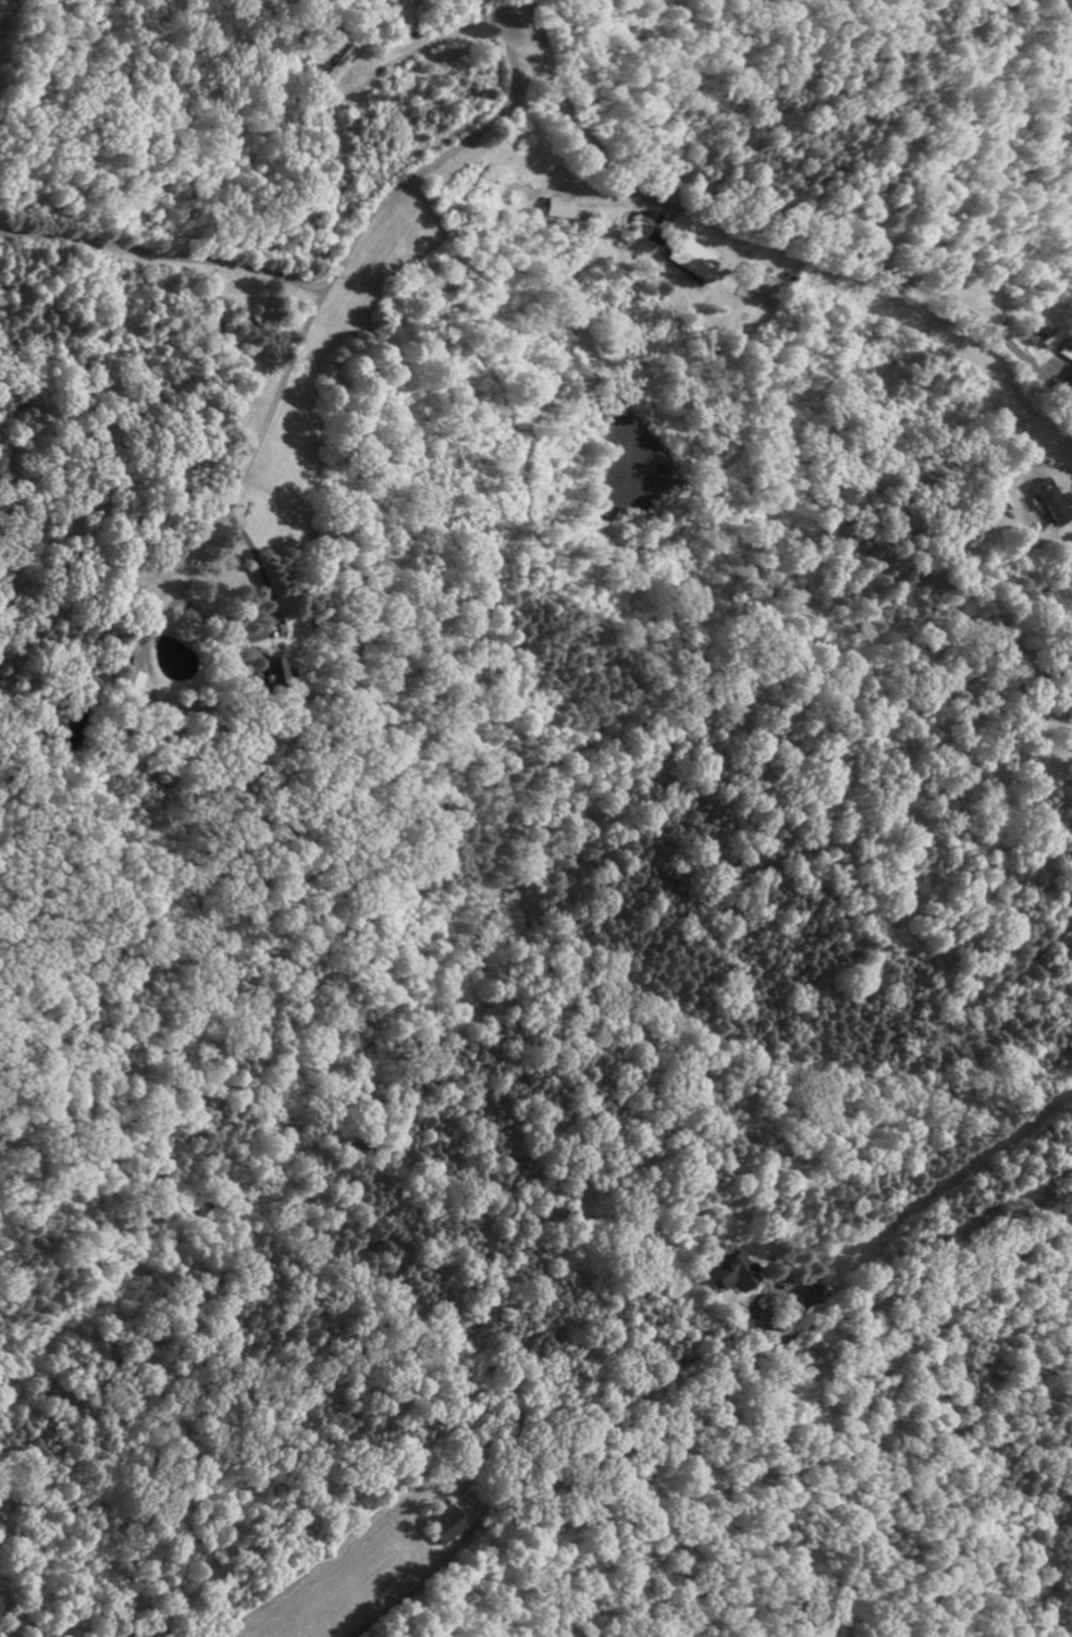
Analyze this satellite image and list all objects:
road: (517, 11)
road: (435, 162)
road: (773, 236)
road: (163, 254)
building: (695, 258)
building: (1064, 348)
building: (1071, 378)
road: (252, 444)
building: (1057, 500)
road: (276, 614)
road: (944, 1252)
building: (734, 1271)
road: (699, 1400)
road: (777, 1424)

